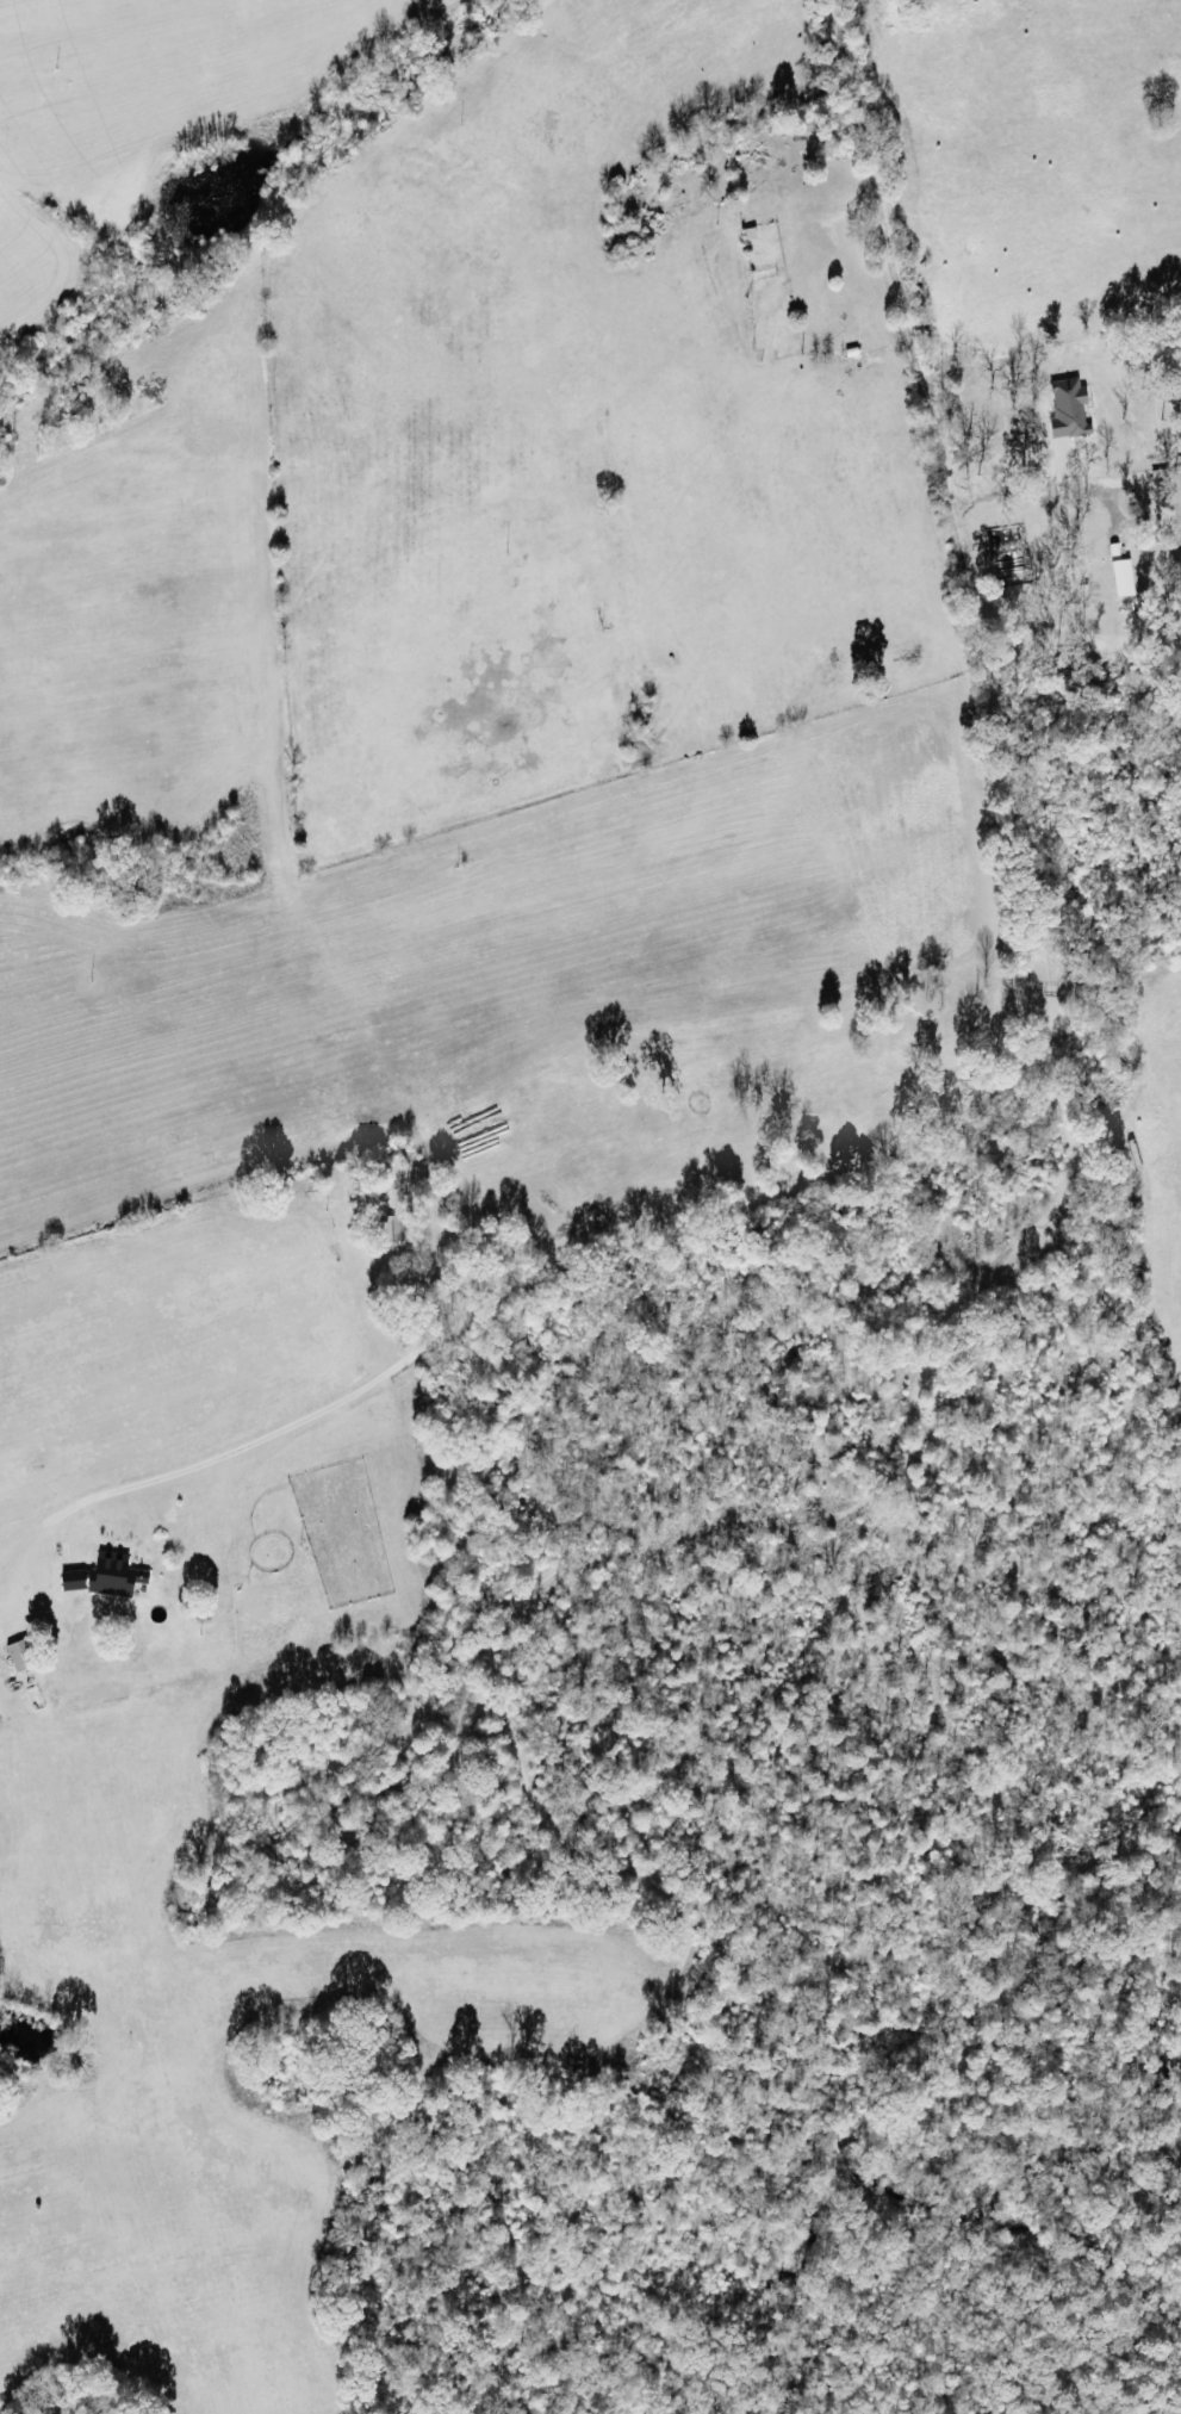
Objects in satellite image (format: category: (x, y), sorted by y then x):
building: (1068, 410)
road: (951, 505)
building: (393, 1228)
building: (106, 1578)
building: (20, 1656)

